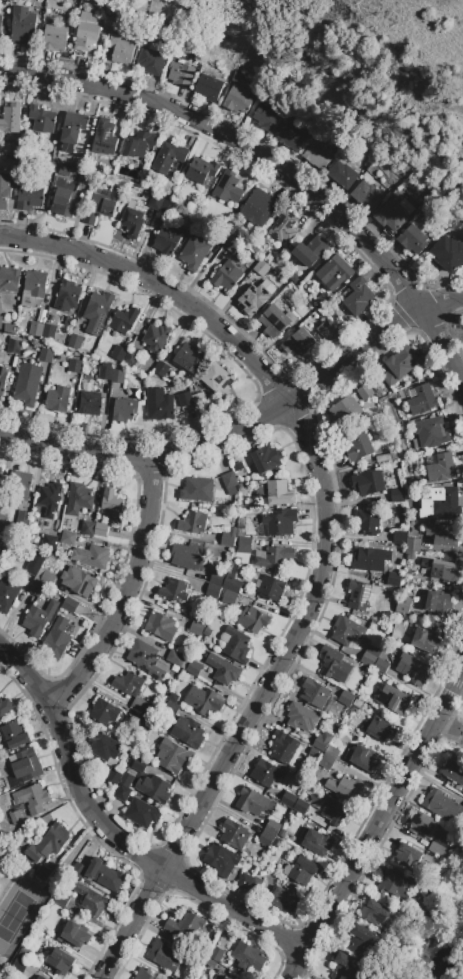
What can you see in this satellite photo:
building: (23, 26)
building: (0, 30)
building: (5, 31)
building: (86, 35)
building: (55, 38)
building: (120, 49)
building: (150, 62)
building: (180, 74)
building: (208, 87)
building: (237, 99)
building: (267, 116)
building: (10, 119)
building: (42, 119)
building: (72, 130)
building: (104, 137)
building: (291, 137)
building: (139, 144)
building: (316, 155)
building: (169, 156)
road: (276, 165)
building: (201, 170)
building: (342, 174)
building: (84, 178)
building: (227, 187)
building: (5, 190)
building: (30, 194)
building: (367, 195)
building: (156, 201)
building: (65, 202)
building: (102, 203)
building: (131, 204)
building: (406, 206)
building: (167, 207)
building: (258, 207)
building: (392, 215)
building: (132, 222)
building: (284, 227)
building: (231, 228)
building: (414, 239)
building: (167, 241)
building: (231, 245)
building: (311, 251)
building: (193, 252)
building: (448, 252)
building: (268, 257)
building: (261, 268)
building: (335, 272)
building: (226, 276)
building: (9, 279)
building: (35, 283)
road: (162, 293)
building: (67, 296)
building: (255, 297)
building: (358, 297)
building: (97, 311)
building: (275, 319)
building: (124, 320)
building: (0, 322)
building: (36, 329)
building: (48, 331)
building: (326, 331)
building: (156, 337)
building: (75, 341)
building: (299, 342)
building: (13, 346)
building: (118, 353)
building: (45, 356)
building: (131, 358)
building: (189, 358)
building: (399, 365)
building: (74, 366)
building: (160, 369)
building: (105, 372)
building: (117, 376)
building: (2, 378)
building: (218, 379)
building: (27, 384)
building: (364, 392)
building: (58, 399)
building: (184, 399)
building: (199, 400)
building: (422, 400)
building: (90, 403)
building: (159, 404)
building: (123, 410)
building: (344, 410)
road: (247, 426)
building: (430, 433)
building: (356, 447)
building: (382, 458)
building: (266, 459)
building: (238, 467)
building: (440, 467)
building: (0, 469)
building: (229, 482)
building: (368, 483)
building: (17, 486)
building: (197, 489)
building: (279, 493)
building: (397, 495)
building: (49, 498)
building: (79, 499)
building: (438, 501)
building: (111, 504)
building: (22, 518)
building: (2, 521)
building: (280, 522)
building: (366, 522)
building: (193, 523)
building: (87, 528)
building: (101, 530)
building: (443, 534)
building: (228, 536)
building: (68, 538)
building: (400, 538)
building: (49, 543)
building: (245, 544)
building: (413, 545)
building: (4, 547)
building: (91, 556)
building: (189, 556)
building: (275, 558)
building: (370, 560)
building: (34, 563)
building: (440, 569)
building: (217, 578)
building: (47, 579)
building: (394, 579)
building: (77, 581)
building: (271, 588)
building: (35, 589)
building: (174, 590)
building: (213, 591)
building: (232, 591)
road: (127, 592)
building: (7, 593)
building: (358, 594)
building: (437, 602)
building: (70, 605)
building: (403, 605)
building: (416, 615)
building: (39, 618)
building: (253, 619)
building: (161, 626)
building: (198, 629)
building: (347, 630)
building: (397, 631)
building: (56, 640)
building: (425, 640)
building: (236, 645)
building: (369, 656)
building: (175, 659)
building: (147, 660)
building: (334, 664)
building: (381, 666)
building: (193, 668)
building: (223, 669)
building: (412, 669)
building: (128, 684)
building: (314, 693)
building: (346, 698)
building: (204, 700)
building: (394, 700)
road: (257, 703)
building: (139, 704)
building: (172, 704)
building: (5, 706)
building: (104, 711)
building: (301, 717)
building: (379, 728)
building: (187, 732)
building: (14, 734)
building: (321, 741)
building: (104, 746)
building: (284, 746)
building: (331, 751)
building: (173, 756)
building: (362, 758)
building: (326, 762)
building: (139, 764)
building: (25, 765)
building: (453, 771)
building: (266, 772)
building: (120, 783)
building: (345, 787)
building: (154, 788)
building: (462, 795)
building: (31, 798)
building: (288, 799)
building: (252, 801)
building: (442, 805)
building: (300, 806)
building: (462, 809)
building: (334, 811)
building: (141, 813)
building: (15, 817)
road: (377, 823)
building: (423, 825)
building: (272, 827)
building: (281, 834)
building: (235, 835)
road: (112, 837)
building: (266, 839)
building: (316, 842)
building: (49, 843)
building: (276, 844)
building: (440, 847)
building: (407, 856)
building: (221, 860)
building: (78, 871)
building: (301, 871)
building: (42, 873)
building: (105, 875)
building: (249, 883)
building: (395, 885)
building: (61, 899)
building: (284, 900)
building: (91, 901)
building: (377, 915)
building: (185, 927)
building: (76, 934)
building: (362, 941)
building: (216, 954)
building: (164, 956)
building: (249, 957)
building: (60, 961)
building: (211, 963)
building: (347, 967)
building: (144, 974)
building: (40, 977)
building: (227, 977)
building: (35, 978)
building: (224, 978)

